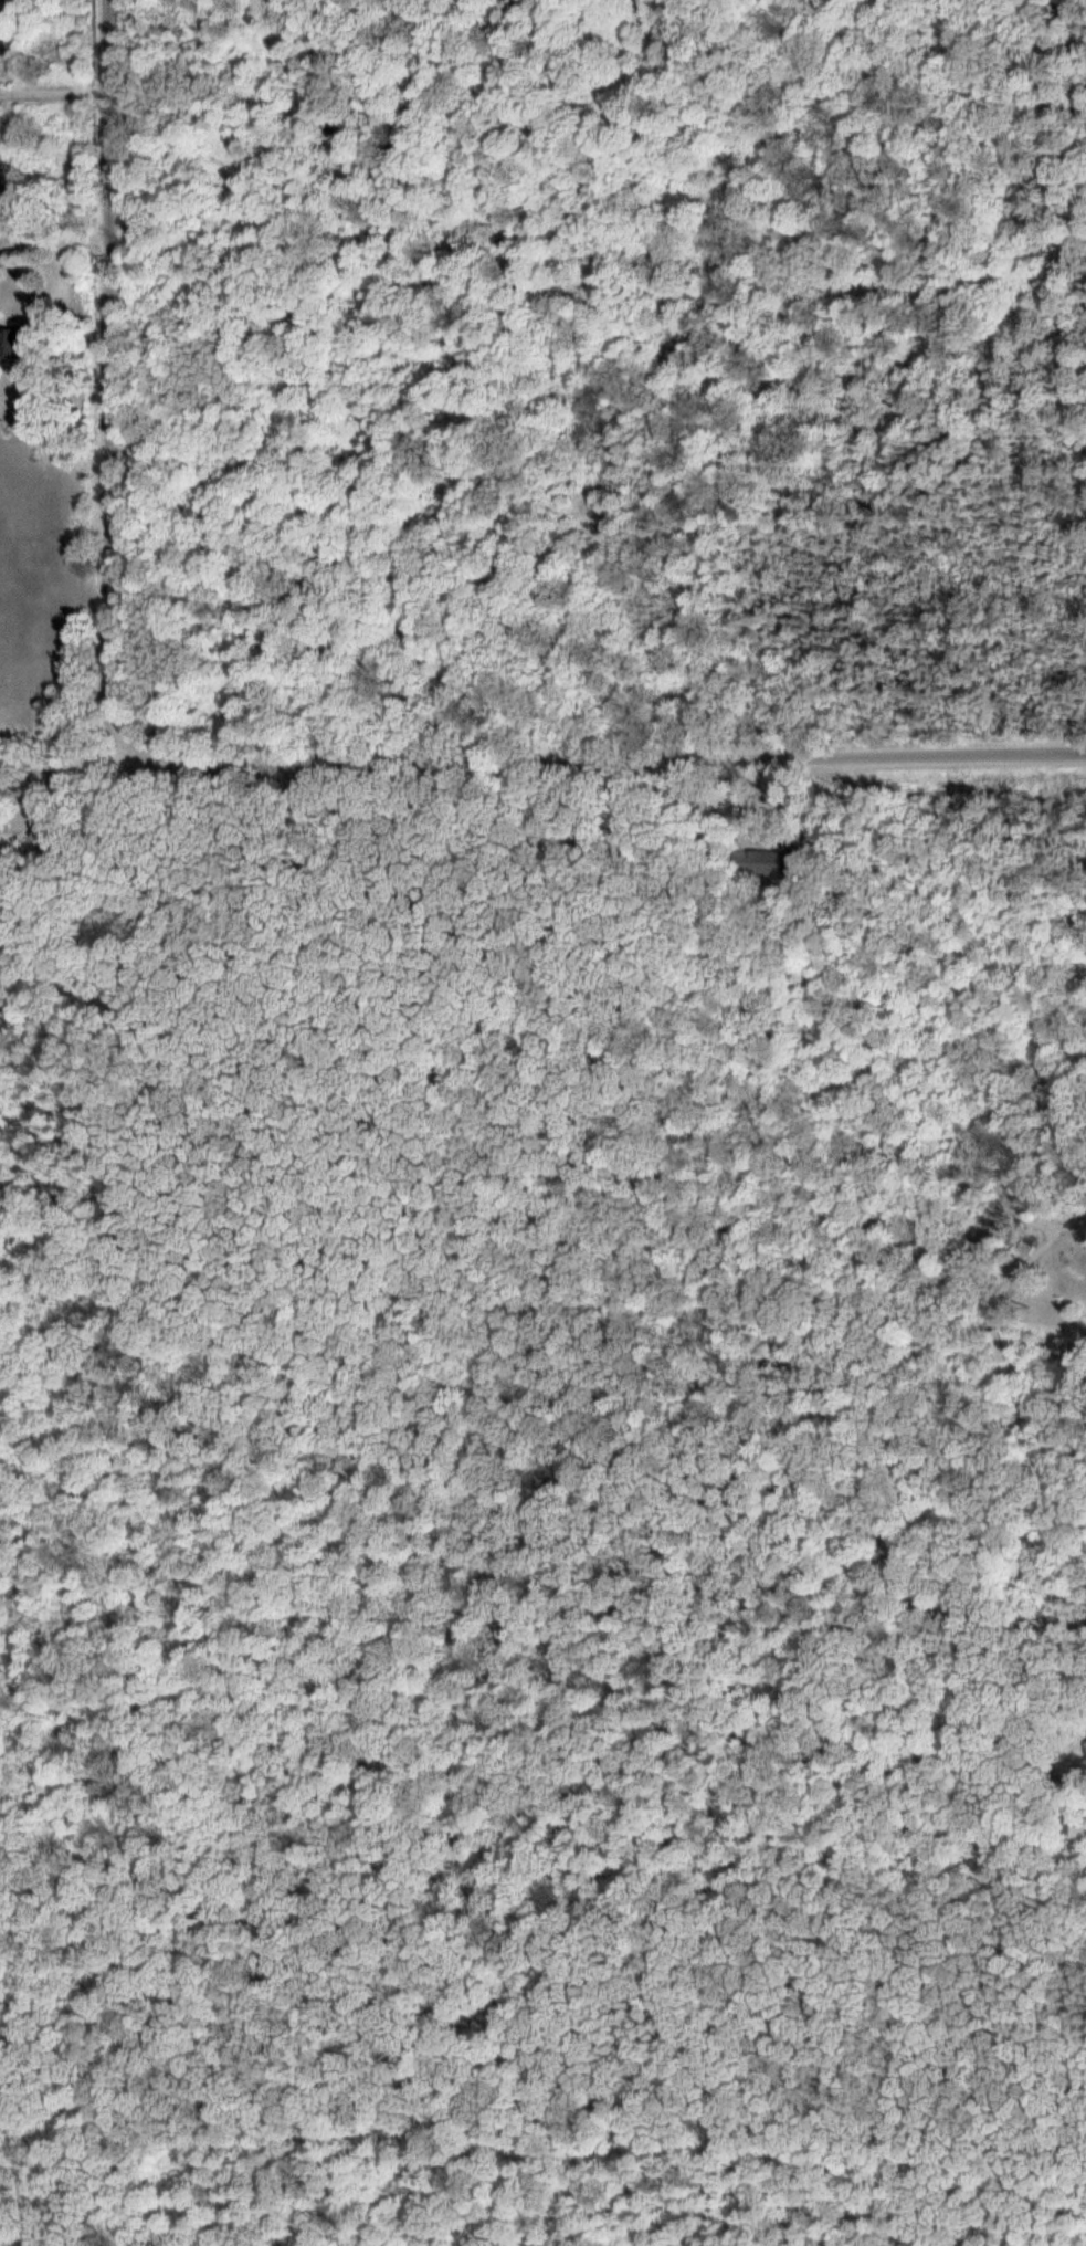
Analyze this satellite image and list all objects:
road: (55, 98)
road: (112, 372)
road: (604, 763)
building: (1008, 1343)

